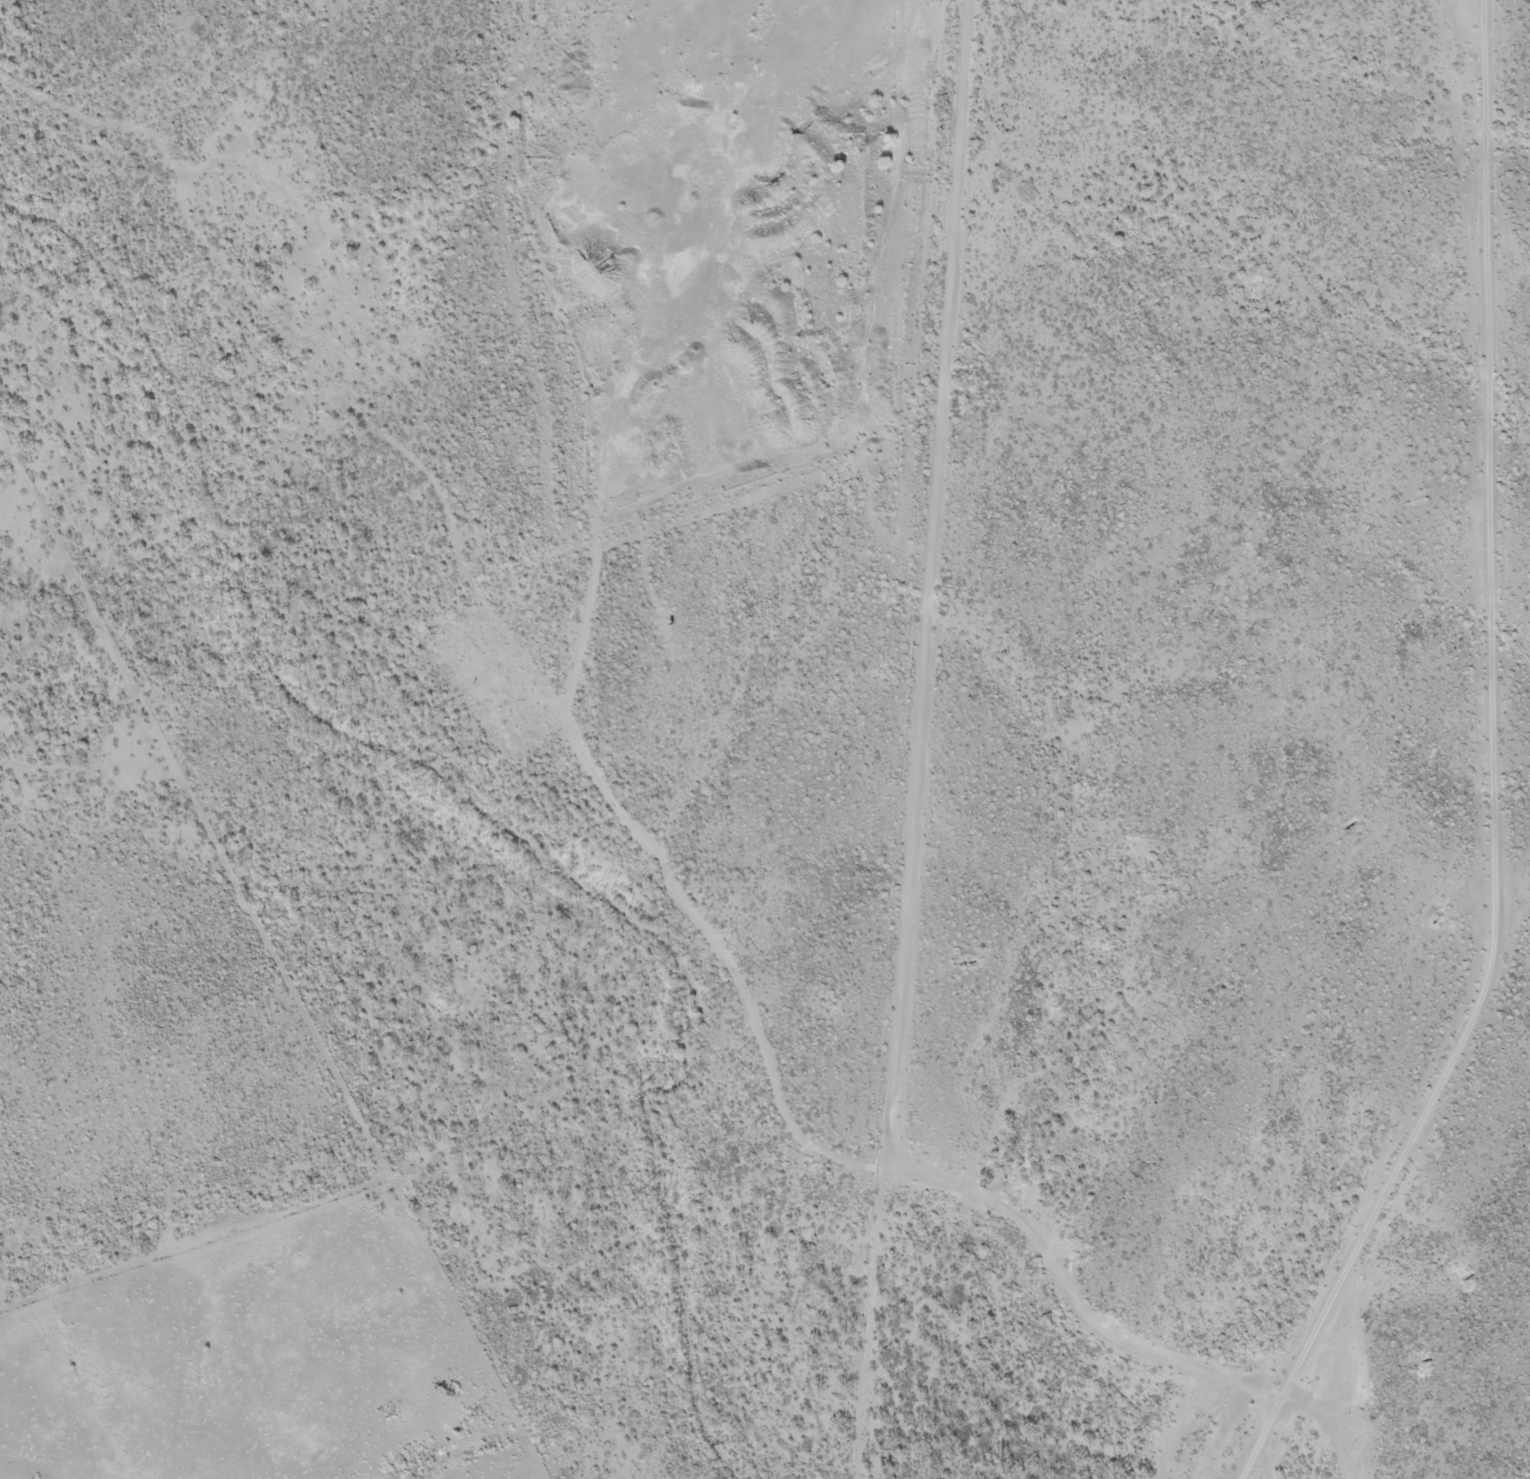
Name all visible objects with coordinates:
road: (645, 831)
road: (128, 1092)
road: (1497, 1427)

